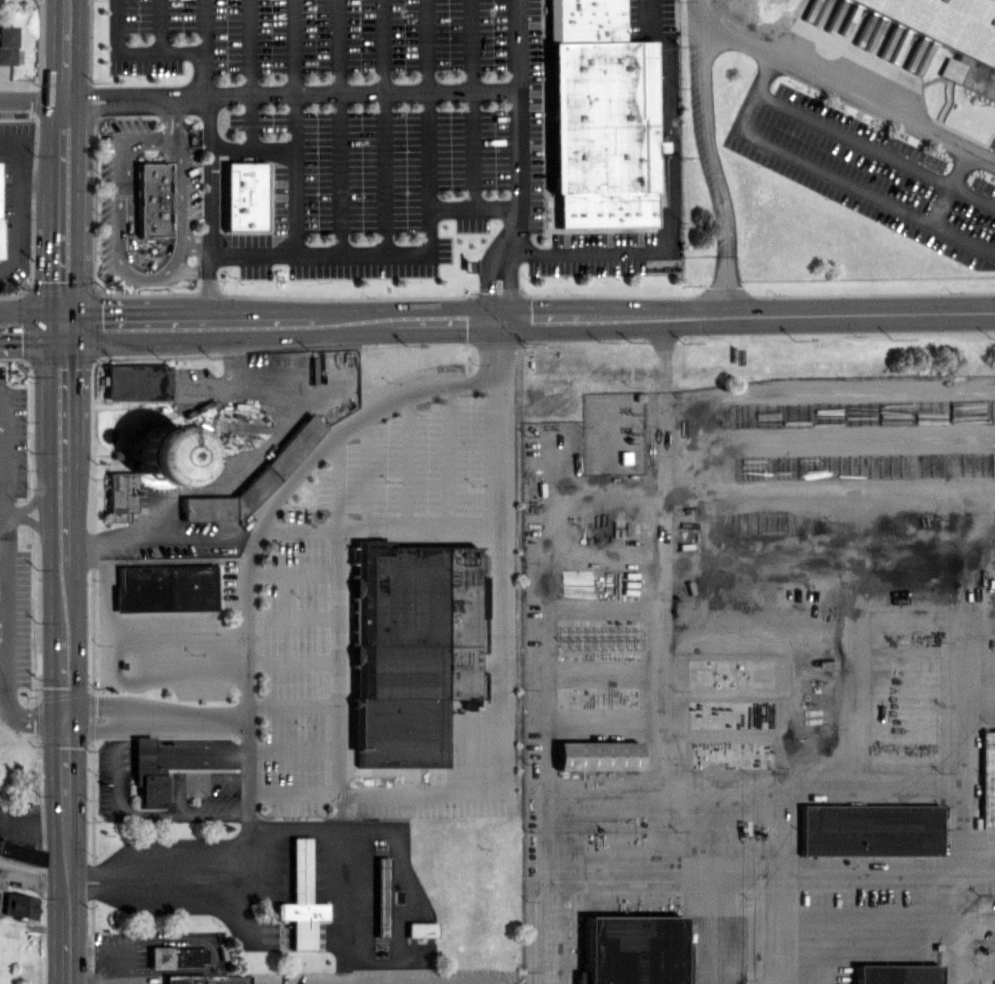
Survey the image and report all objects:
building: (0, 1)
road: (158, 26)
road: (201, 26)
building: (950, 37)
building: (7, 44)
road: (250, 47)
road: (293, 47)
road: (66, 50)
road: (155, 51)
road: (842, 88)
road: (291, 95)
road: (33, 100)
road: (428, 103)
road: (471, 104)
road: (168, 117)
building: (598, 117)
road: (340, 125)
road: (383, 126)
road: (518, 128)
road: (294, 157)
road: (717, 170)
road: (831, 173)
road: (35, 177)
road: (955, 185)
building: (243, 196)
road: (671, 198)
building: (151, 199)
road: (939, 202)
road: (18, 203)
road: (209, 209)
road: (51, 211)
road: (78, 211)
road: (196, 247)
road: (384, 252)
road: (129, 273)
road: (489, 284)
road: (507, 286)
road: (788, 314)
road: (539, 318)
road: (446, 319)
traffic signals: (498, 319)
road: (356, 320)
road: (263, 321)
road: (308, 321)
road: (219, 322)
road: (131, 323)
road: (197, 323)
road: (63, 324)
traffic signals: (78, 324)
road: (24, 325)
traffic signals: (49, 325)
building: (136, 382)
road: (238, 383)
road: (49, 385)
road: (203, 423)
road: (77, 436)
building: (162, 452)
water tower: (162, 453)
road: (233, 476)
building: (119, 495)
building: (227, 499)
road: (31, 503)
road: (2, 513)
road: (31, 522)
road: (50, 540)
road: (163, 560)
road: (2, 564)
road: (5, 579)
road: (662, 587)
building: (164, 588)
building: (481, 596)
road: (2, 607)
road: (74, 633)
road: (141, 637)
road: (247, 646)
building: (409, 650)
road: (2, 653)
road: (58, 676)
road: (499, 680)
traffic signals: (64, 718)
road: (155, 719)
building: (594, 755)
building: (148, 774)
building: (986, 778)
road: (117, 782)
road: (33, 824)
building: (868, 829)
road: (66, 850)
building: (19, 853)
road: (622, 860)
road: (857, 874)
building: (379, 896)
building: (298, 898)
building: (20, 905)
road: (952, 926)
building: (418, 928)
building: (632, 950)
building: (158, 956)
building: (895, 973)
building: (182, 979)

